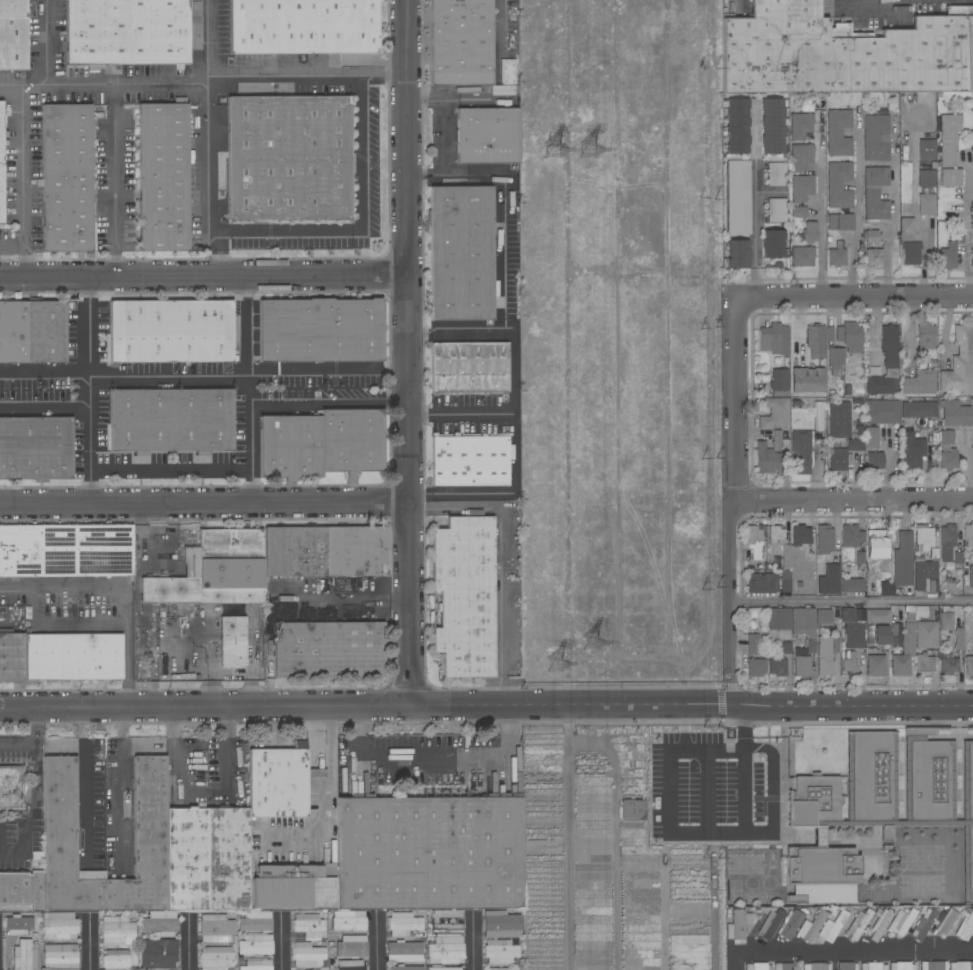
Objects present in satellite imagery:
road: (876, 4)
building: (734, 8)
road: (502, 23)
building: (302, 26)
building: (127, 32)
building: (13, 35)
road: (208, 43)
building: (461, 43)
road: (45, 45)
building: (843, 53)
road: (207, 90)
building: (503, 90)
road: (427, 98)
road: (473, 99)
building: (805, 106)
building: (880, 110)
building: (896, 112)
building: (800, 125)
building: (736, 126)
building: (772, 127)
building: (838, 133)
building: (487, 135)
building: (875, 137)
power tower: (554, 147)
building: (926, 150)
building: (949, 150)
power tower: (592, 152)
road: (445, 153)
building: (800, 157)
building: (289, 158)
building: (1, 164)
building: (776, 174)
building: (876, 176)
building: (163, 177)
building: (66, 178)
building: (926, 178)
road: (21, 184)
road: (113, 184)
building: (838, 185)
road: (206, 188)
road: (771, 191)
building: (801, 194)
building: (738, 197)
road: (755, 199)
road: (858, 204)
building: (926, 204)
building: (875, 205)
road: (822, 207)
building: (776, 210)
road: (894, 213)
building: (811, 216)
building: (832, 222)
building: (845, 222)
road: (360, 223)
road: (968, 225)
road: (770, 226)
building: (906, 226)
building: (809, 232)
building: (871, 237)
building: (773, 243)
building: (950, 252)
building: (461, 253)
building: (910, 253)
building: (736, 255)
building: (802, 256)
building: (836, 257)
building: (873, 257)
road: (205, 279)
road: (855, 299)
road: (455, 328)
building: (320, 330)
building: (170, 331)
building: (32, 332)
road: (242, 332)
building: (829, 333)
building: (815, 335)
building: (850, 336)
building: (925, 336)
building: (773, 339)
road: (410, 352)
road: (512, 353)
building: (802, 359)
building: (835, 360)
building: (959, 363)
building: (886, 364)
building: (469, 367)
road: (44, 370)
building: (858, 373)
road: (169, 376)
building: (806, 379)
building: (920, 381)
building: (779, 382)
road: (331, 384)
road: (88, 390)
building: (848, 392)
road: (44, 408)
building: (918, 409)
building: (882, 412)
building: (774, 413)
building: (955, 413)
road: (460, 414)
building: (819, 415)
road: (251, 419)
building: (839, 419)
building: (171, 420)
building: (871, 437)
building: (947, 437)
building: (776, 439)
building: (321, 444)
building: (854, 445)
building: (35, 448)
building: (912, 449)
building: (800, 452)
building: (837, 457)
building: (767, 458)
building: (948, 460)
building: (469, 461)
building: (875, 461)
road: (170, 470)
road: (252, 478)
road: (852, 500)
road: (732, 501)
road: (204, 502)
building: (968, 534)
building: (775, 535)
building: (800, 536)
building: (851, 536)
building: (923, 537)
building: (824, 539)
building: (755, 541)
building: (947, 541)
building: (879, 544)
building: (66, 550)
building: (295, 551)
building: (356, 551)
road: (175, 554)
road: (504, 556)
building: (786, 557)
building: (859, 557)
building: (958, 560)
building: (903, 561)
road: (136, 571)
building: (214, 571)
building: (924, 573)
building: (971, 578)
building: (829, 580)
building: (784, 581)
building: (761, 583)
building: (851, 585)
building: (886, 588)
road: (121, 590)
building: (464, 595)
road: (853, 601)
road: (287, 603)
building: (910, 608)
building: (755, 610)
building: (847, 615)
building: (823, 616)
building: (877, 616)
building: (948, 618)
building: (779, 619)
road: (64, 625)
building: (804, 626)
building: (926, 634)
building: (853, 635)
building: (881, 635)
power tower: (597, 639)
building: (959, 639)
building: (232, 641)
building: (753, 644)
building: (786, 647)
building: (904, 649)
building: (328, 650)
building: (827, 654)
building: (11, 655)
building: (72, 656)
power tower: (557, 663)
building: (947, 663)
building: (801, 664)
building: (924, 664)
building: (849, 665)
building: (875, 665)
building: (777, 666)
building: (755, 667)
building: (969, 667)
road: (486, 704)
road: (34, 744)
road: (432, 765)
road: (34, 776)
building: (279, 783)
building: (11, 787)
road: (120, 787)
building: (890, 790)
road: (200, 796)
road: (330, 807)
building: (632, 809)
road: (771, 809)
road: (666, 831)
road: (567, 837)
road: (614, 839)
building: (144, 843)
building: (65, 844)
road: (11, 851)
building: (430, 853)
building: (187, 859)
building: (229, 859)
building: (821, 874)
building: (292, 885)
building: (22, 888)
building: (833, 912)
building: (348, 920)
building: (446, 920)
building: (255, 922)
building: (901, 922)
building: (946, 922)
building: (159, 923)
building: (770, 923)
building: (880, 923)
building: (403, 924)
building: (500, 924)
building: (789, 924)
building: (858, 924)
building: (923, 924)
building: (18, 925)
building: (308, 925)
building: (58, 926)
building: (737, 926)
building: (811, 926)
building: (833, 926)
building: (965, 927)
building: (216, 928)
building: (116, 930)
building: (33, 934)
building: (429, 934)
building: (412, 935)
building: (423, 935)
building: (236, 939)
road: (280, 942)
road: (474, 942)
road: (91, 943)
road: (377, 943)
road: (189, 944)
building: (255, 944)
building: (351, 946)
building: (445, 950)
building: (404, 951)
building: (499, 951)
road: (853, 952)
building: (158, 953)
building: (307, 954)
building: (25, 955)
building: (60, 956)
building: (215, 958)
building: (115, 960)
building: (240, 962)
road: (734, 962)
building: (256, 965)
building: (350, 965)
building: (933, 965)
building: (757, 966)
building: (784, 966)
building: (815, 966)
building: (847, 966)
building: (873, 966)
building: (901, 966)
building: (961, 966)
building: (235, 968)
building: (406, 968)
building: (445, 968)
building: (497, 969)

